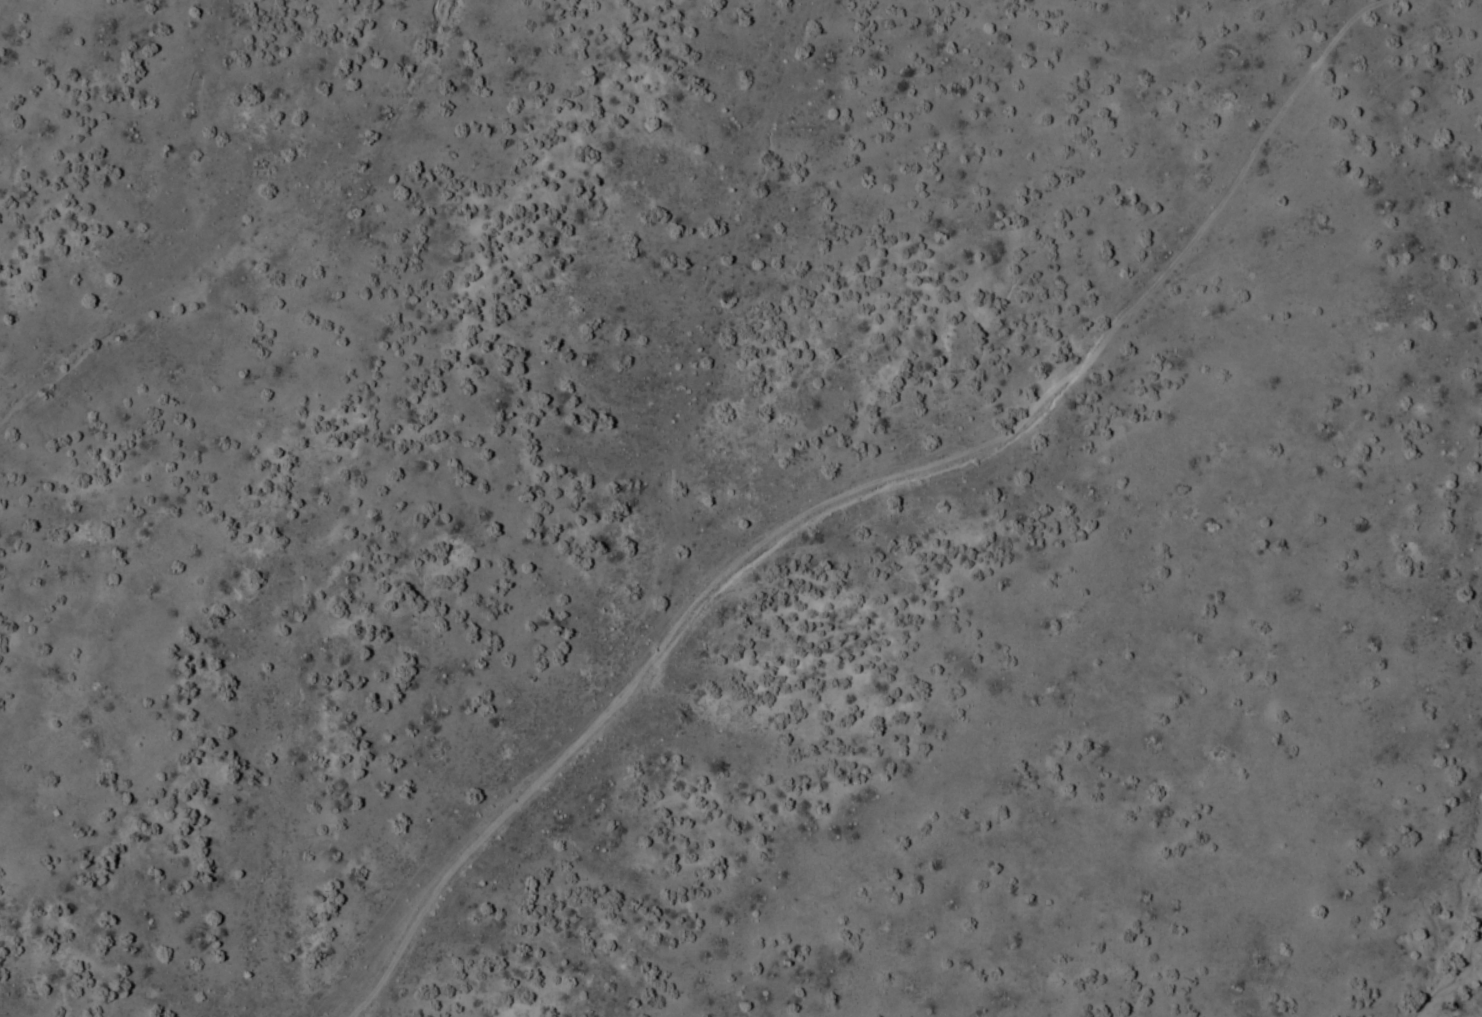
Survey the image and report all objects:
road: (1379, 3)
road: (849, 512)

